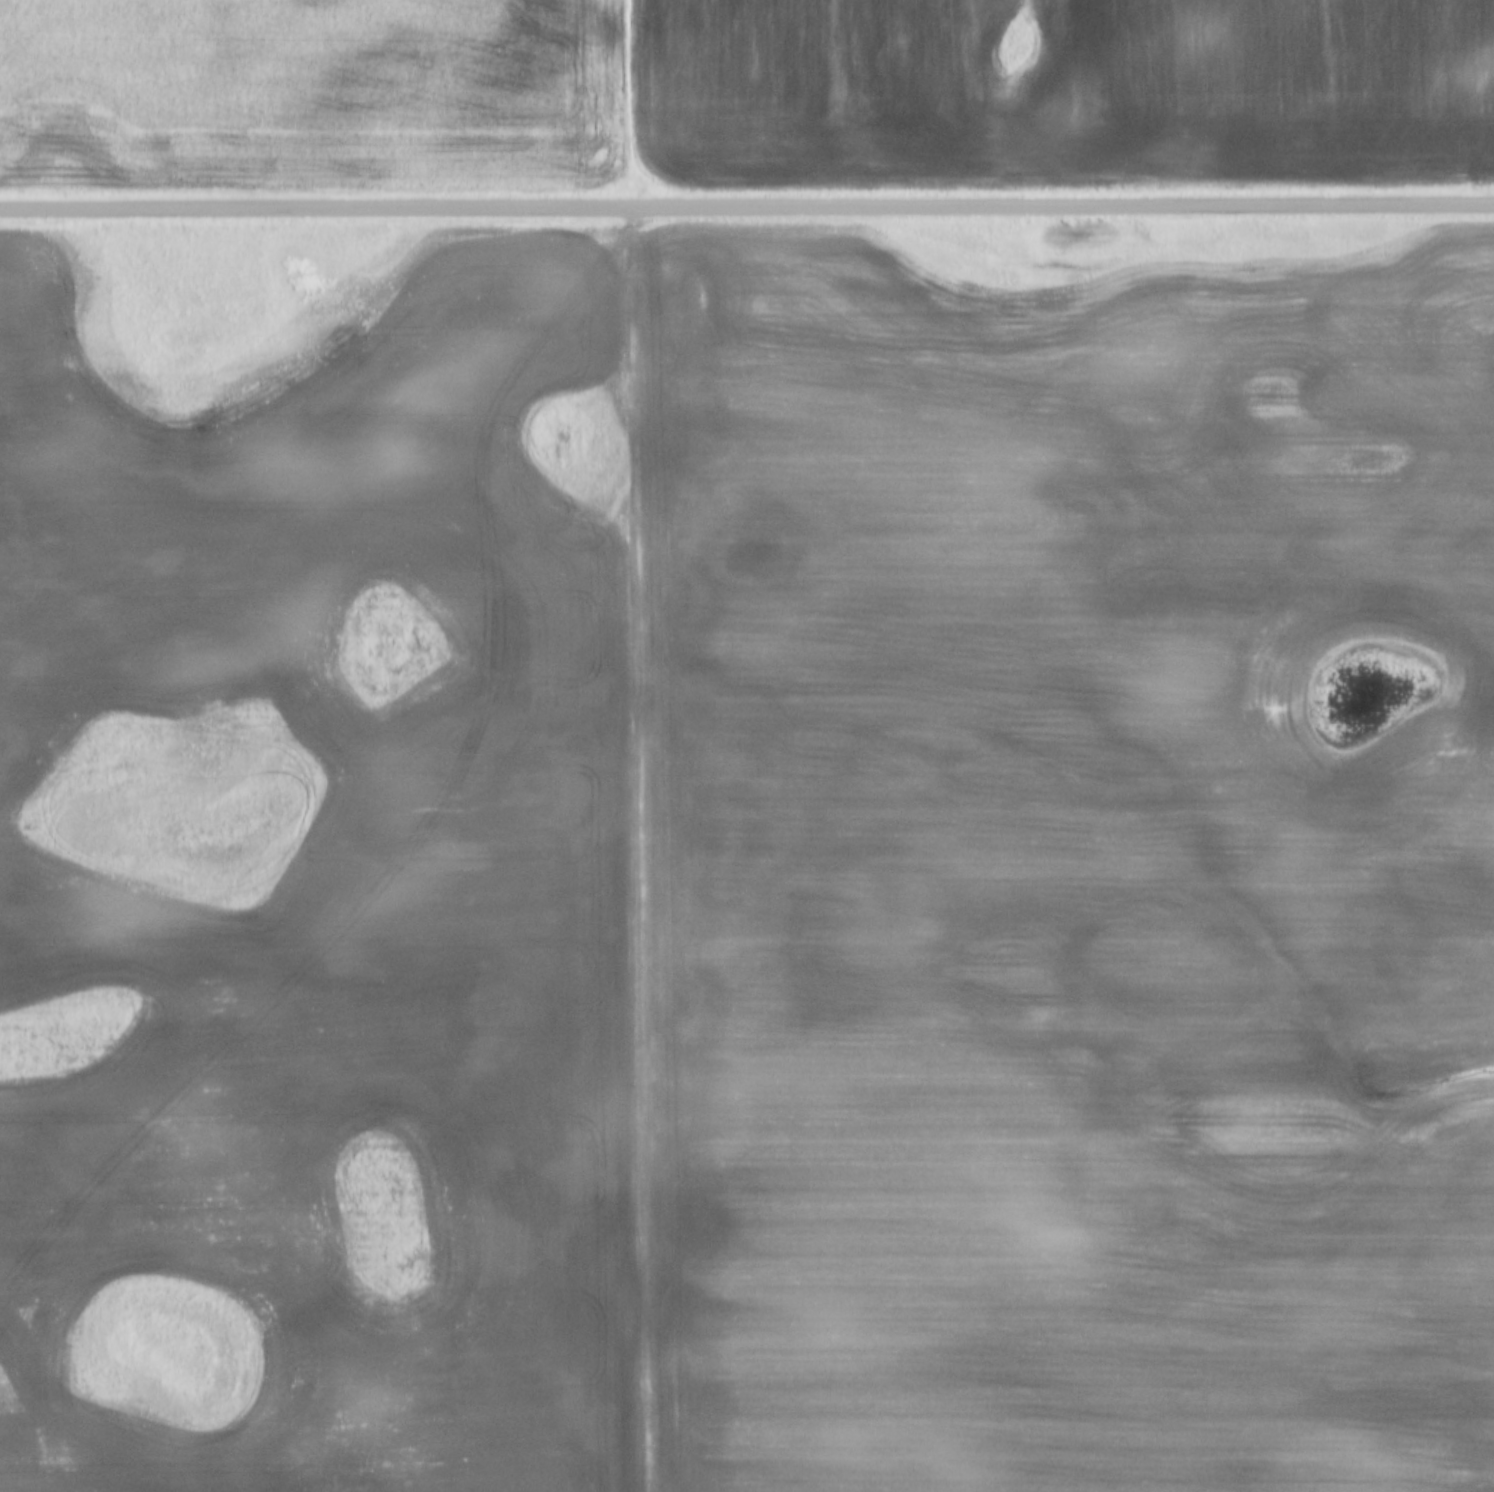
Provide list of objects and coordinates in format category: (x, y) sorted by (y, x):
road: (746, 211)

